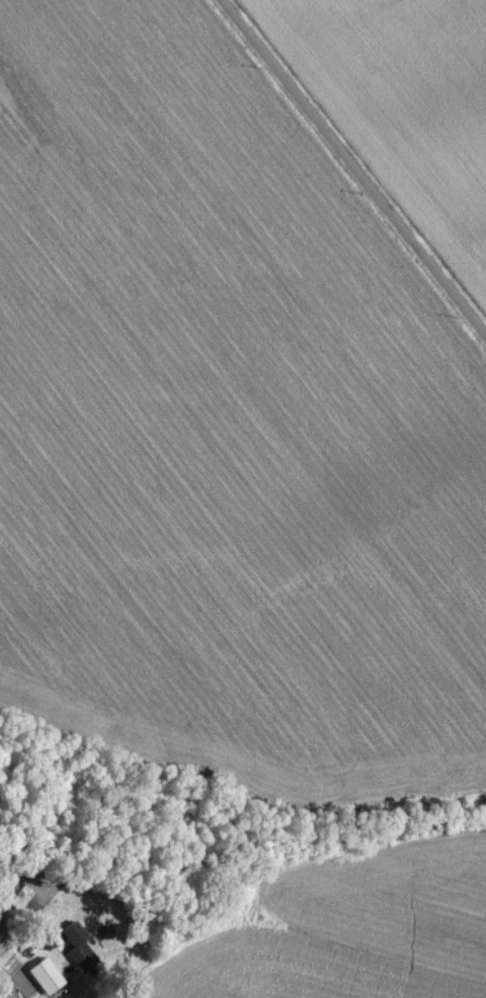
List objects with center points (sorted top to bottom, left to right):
road: (349, 171)
building: (70, 940)
building: (2, 982)
building: (44, 982)

